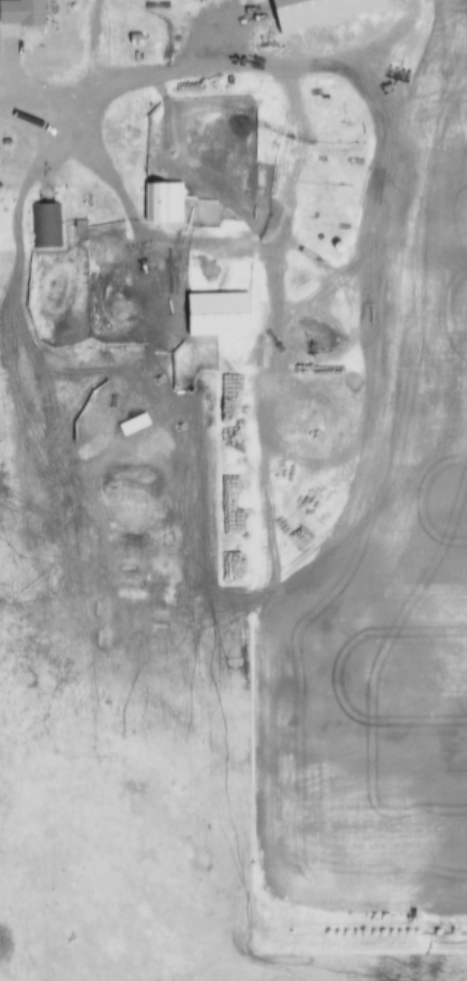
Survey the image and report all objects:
building: (26, 12)
road: (45, 114)
building: (168, 204)
building: (47, 226)
building: (226, 315)
building: (155, 433)

